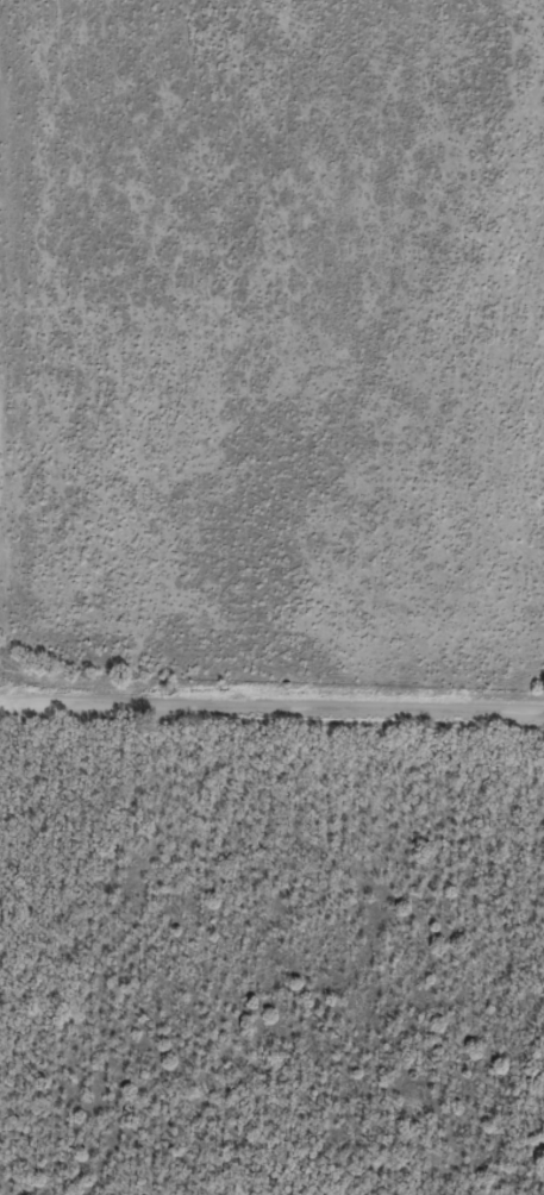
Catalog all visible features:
road: (271, 749)

